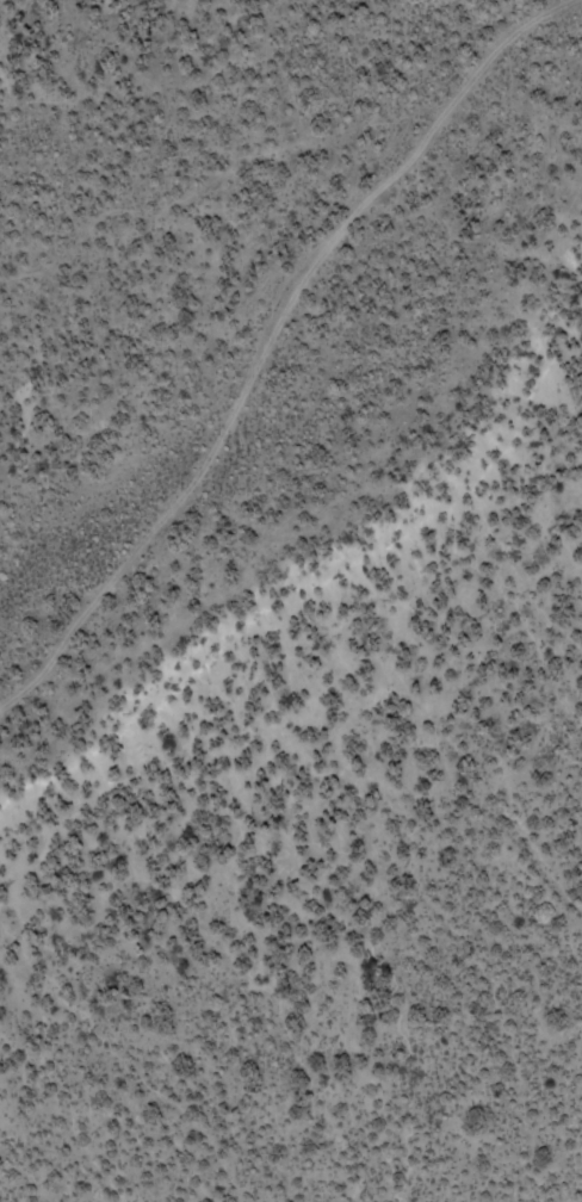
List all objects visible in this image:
road: (270, 336)

